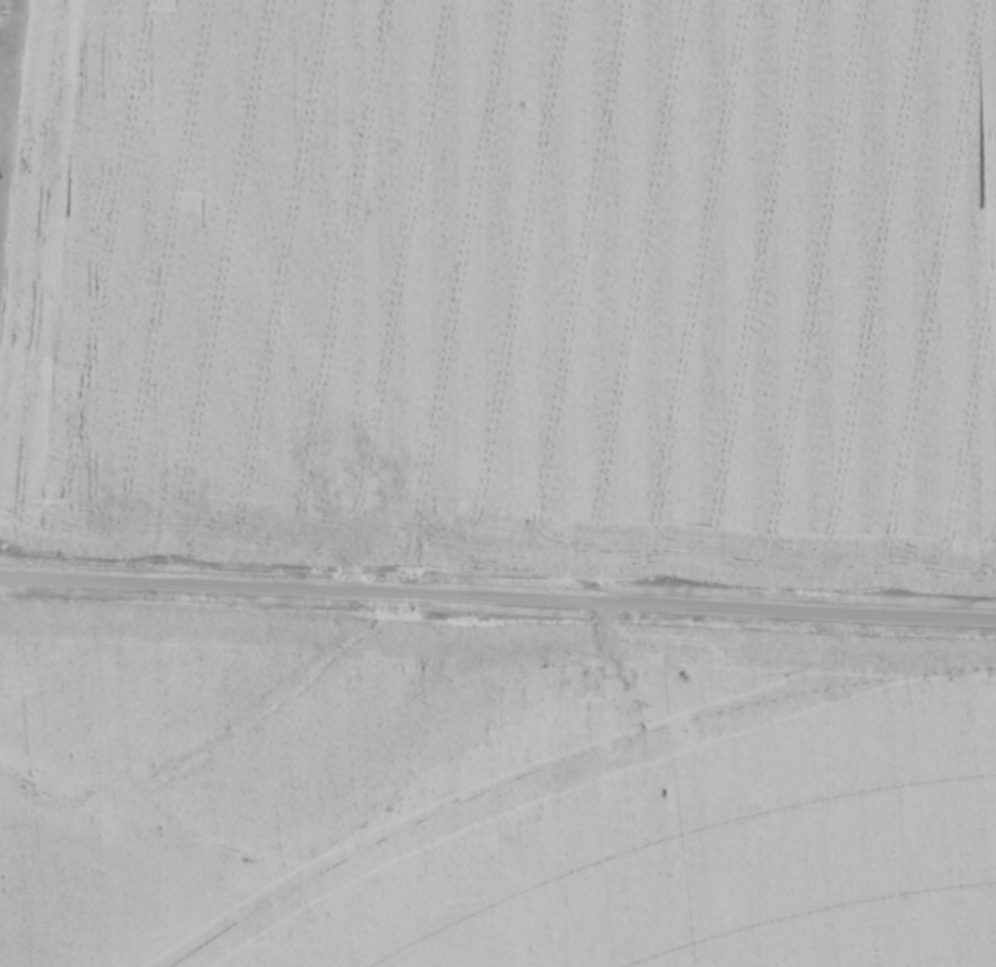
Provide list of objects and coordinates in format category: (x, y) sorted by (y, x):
road: (497, 596)

